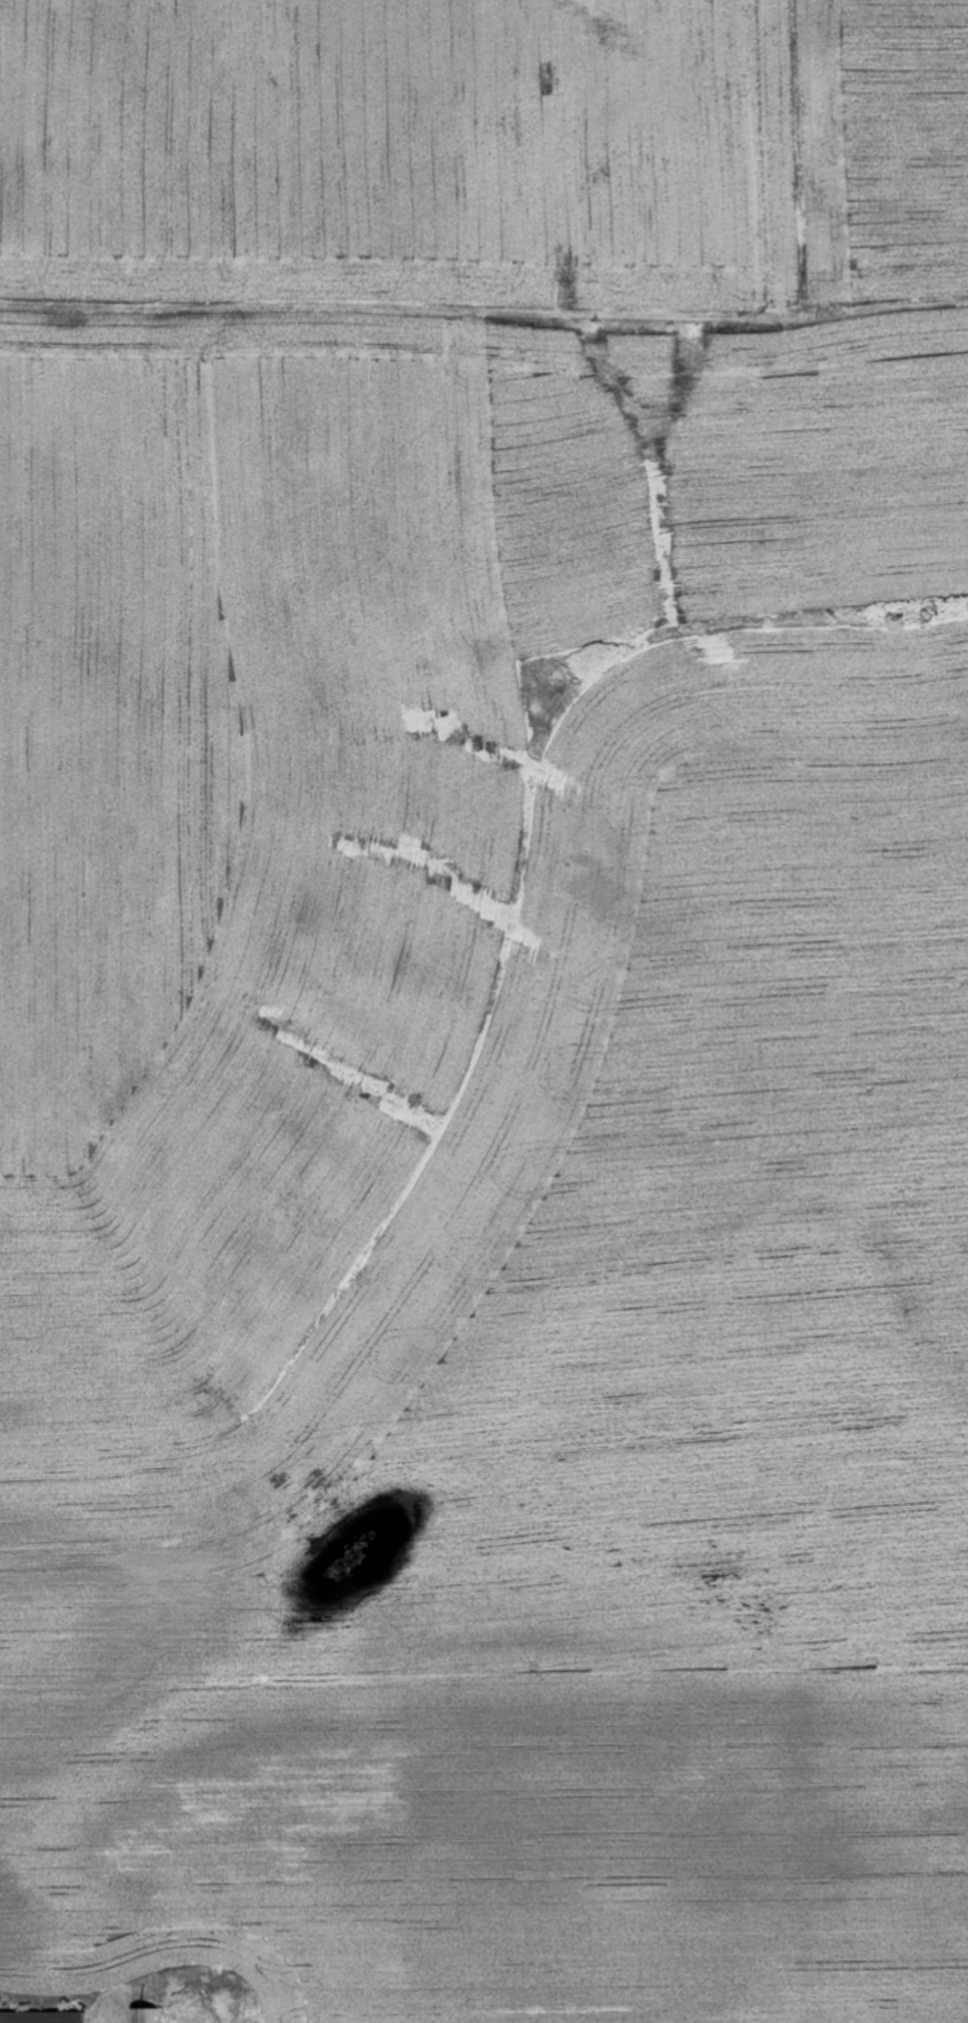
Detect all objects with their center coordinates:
building: (139, 2015)
building: (39, 2017)

